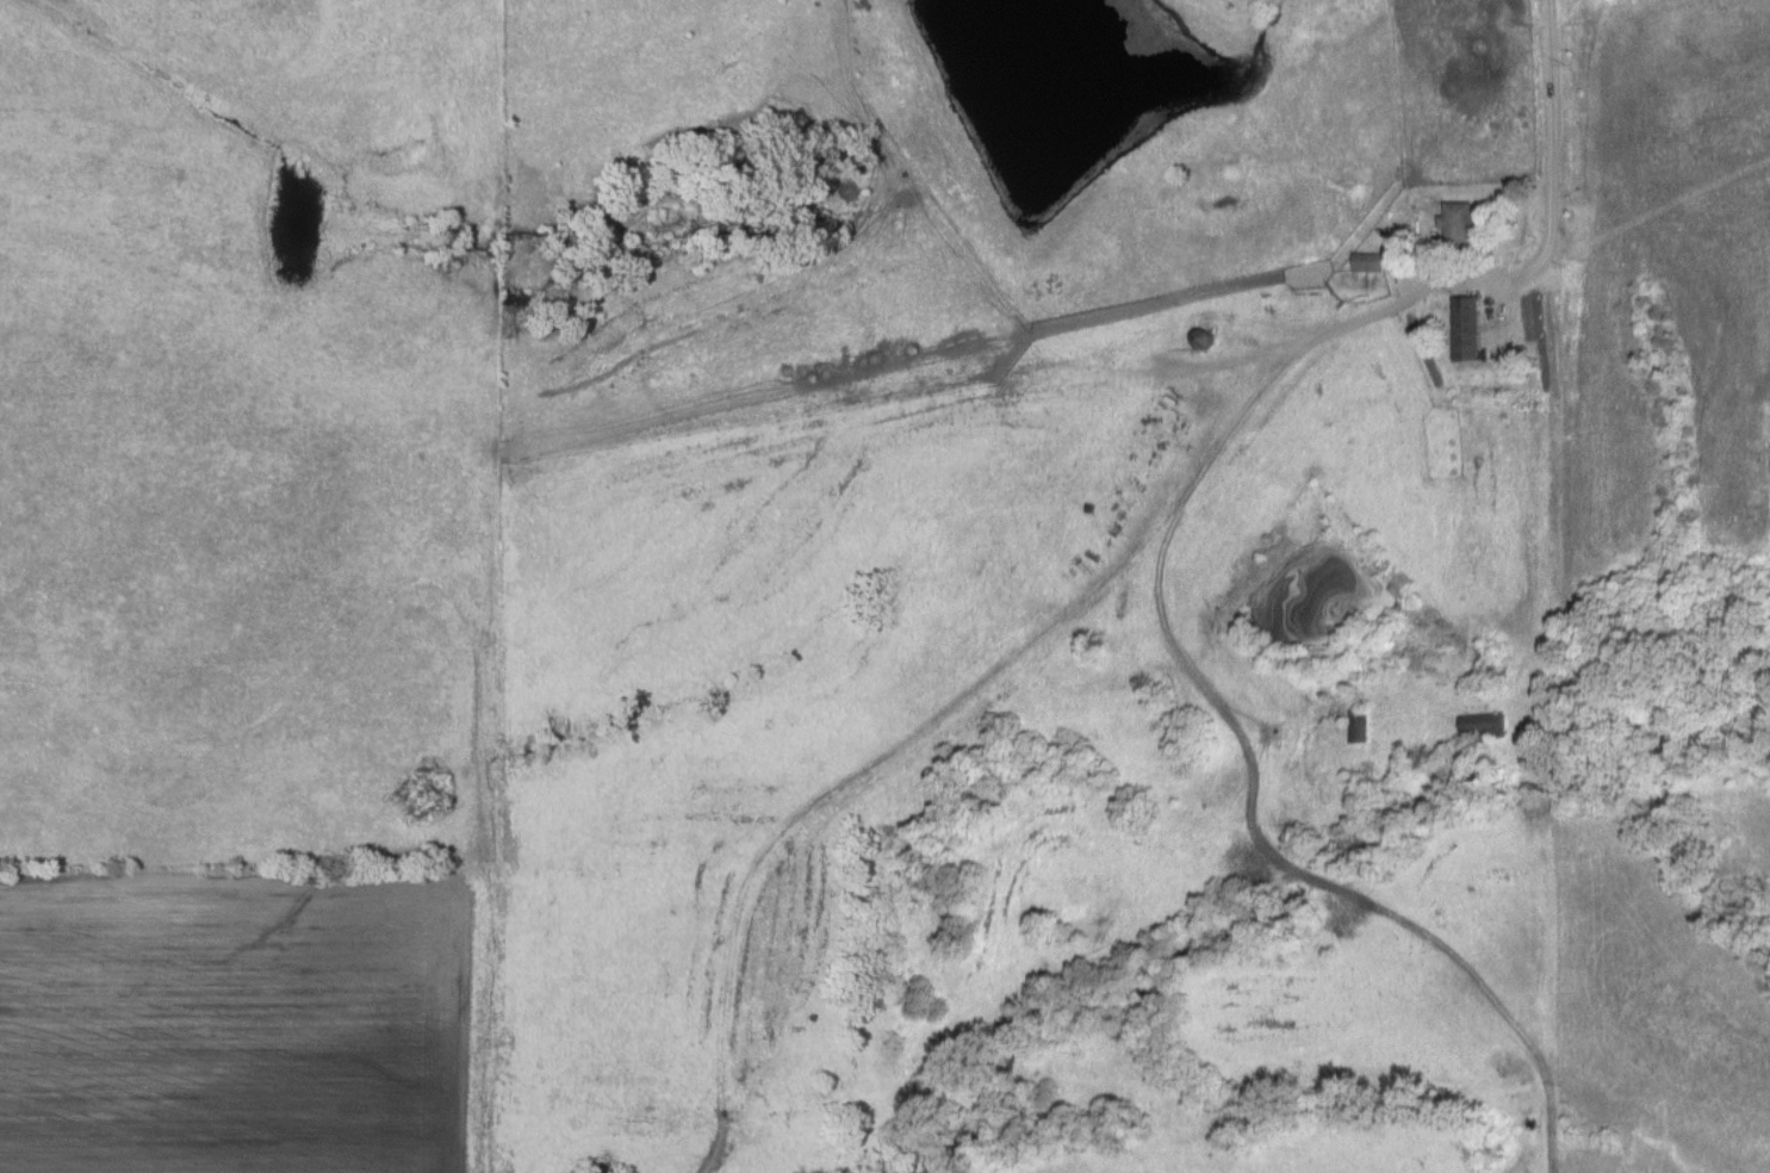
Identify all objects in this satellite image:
road: (1552, 125)
building: (1459, 225)
building: (1367, 262)
building: (1467, 330)
building: (1204, 341)
building: (1356, 725)
building: (1482, 727)

